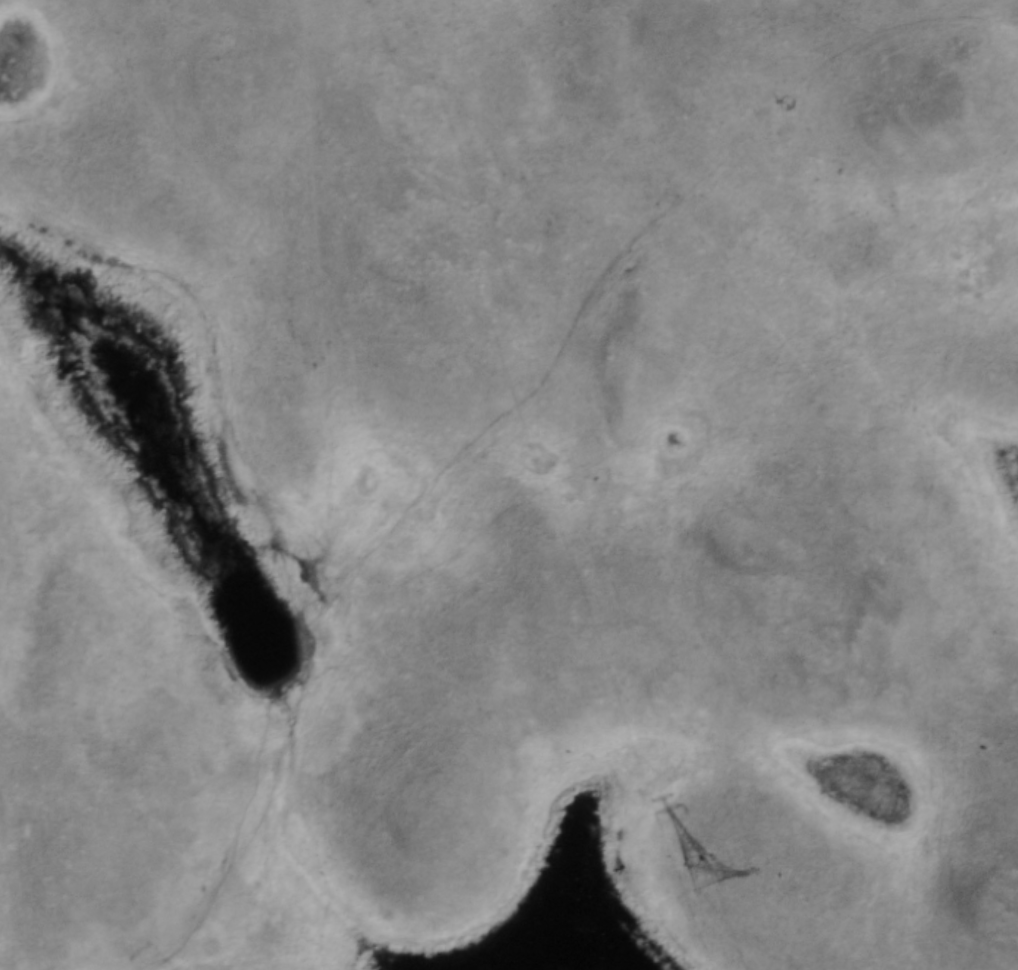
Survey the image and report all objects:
power tower: (707, 876)

